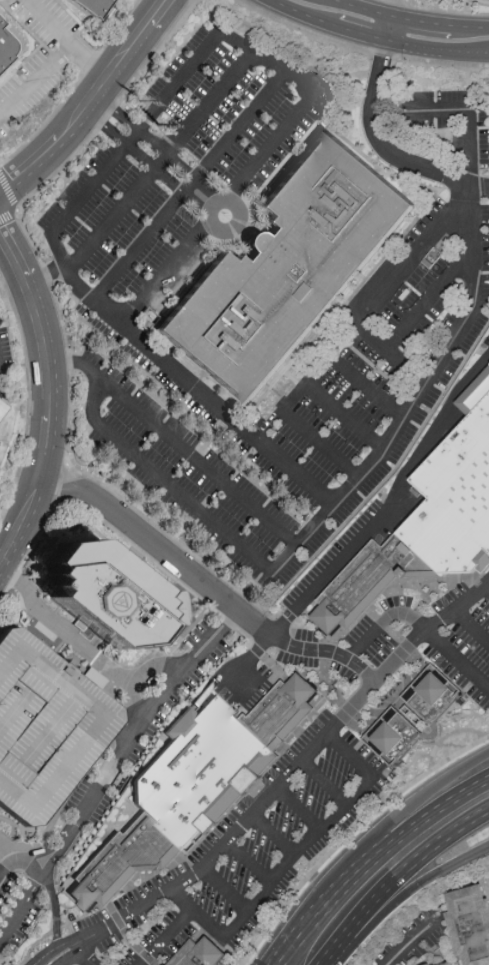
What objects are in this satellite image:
building: (98, 5)
road: (299, 15)
road: (415, 18)
road: (388, 21)
road: (357, 33)
road: (64, 39)
building: (8, 43)
road: (435, 49)
road: (269, 61)
road: (34, 77)
road: (88, 102)
power tower: (140, 103)
road: (454, 109)
power tower: (164, 120)
road: (378, 141)
road: (164, 150)
road: (159, 161)
road: (151, 164)
parking lot: (180, 169)
road: (186, 185)
road: (479, 185)
road: (226, 213)
building: (288, 268)
road: (383, 289)
road: (81, 294)
road: (426, 301)
parking lot: (308, 379)
road: (427, 381)
road: (366, 386)
road: (55, 396)
road: (292, 396)
building: (4, 412)
building: (0, 448)
road: (392, 504)
building: (428, 524)
road: (158, 547)
road: (298, 549)
road: (488, 585)
building: (104, 596)
road: (383, 621)
road: (474, 627)
parking lot: (460, 637)
road: (326, 650)
road: (247, 657)
road: (459, 658)
building: (96, 679)
building: (432, 694)
building: (44, 729)
parking lot: (44, 729)
building: (393, 737)
road: (108, 772)
road: (292, 776)
building: (191, 785)
road: (326, 785)
road: (301, 810)
road: (398, 817)
road: (275, 836)
road: (0, 846)
road: (412, 848)
parking lot: (243, 854)
road: (12, 855)
road: (291, 861)
road: (2, 862)
road: (251, 863)
road: (35, 866)
road: (12, 870)
road: (227, 890)
road: (403, 893)
road: (54, 908)
road: (332, 926)
building: (471, 927)
road: (166, 937)
road: (409, 941)
road: (53, 950)
road: (311, 953)
building: (201, 954)
road: (72, 955)
road: (85, 955)
building: (451, 963)
building: (434, 964)

